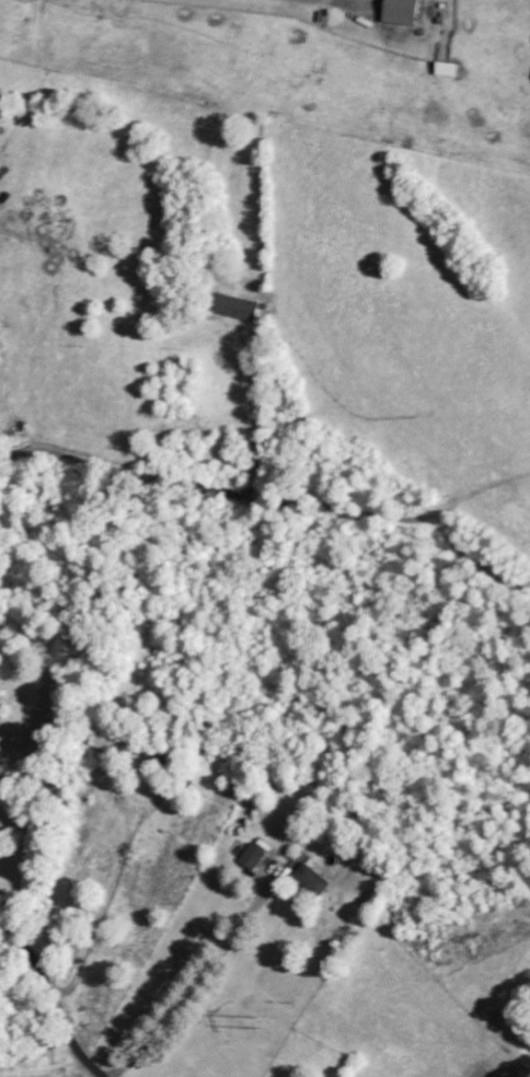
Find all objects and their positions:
building: (115, 743)
building: (207, 745)
building: (254, 857)
building: (316, 881)
road: (53, 1000)

